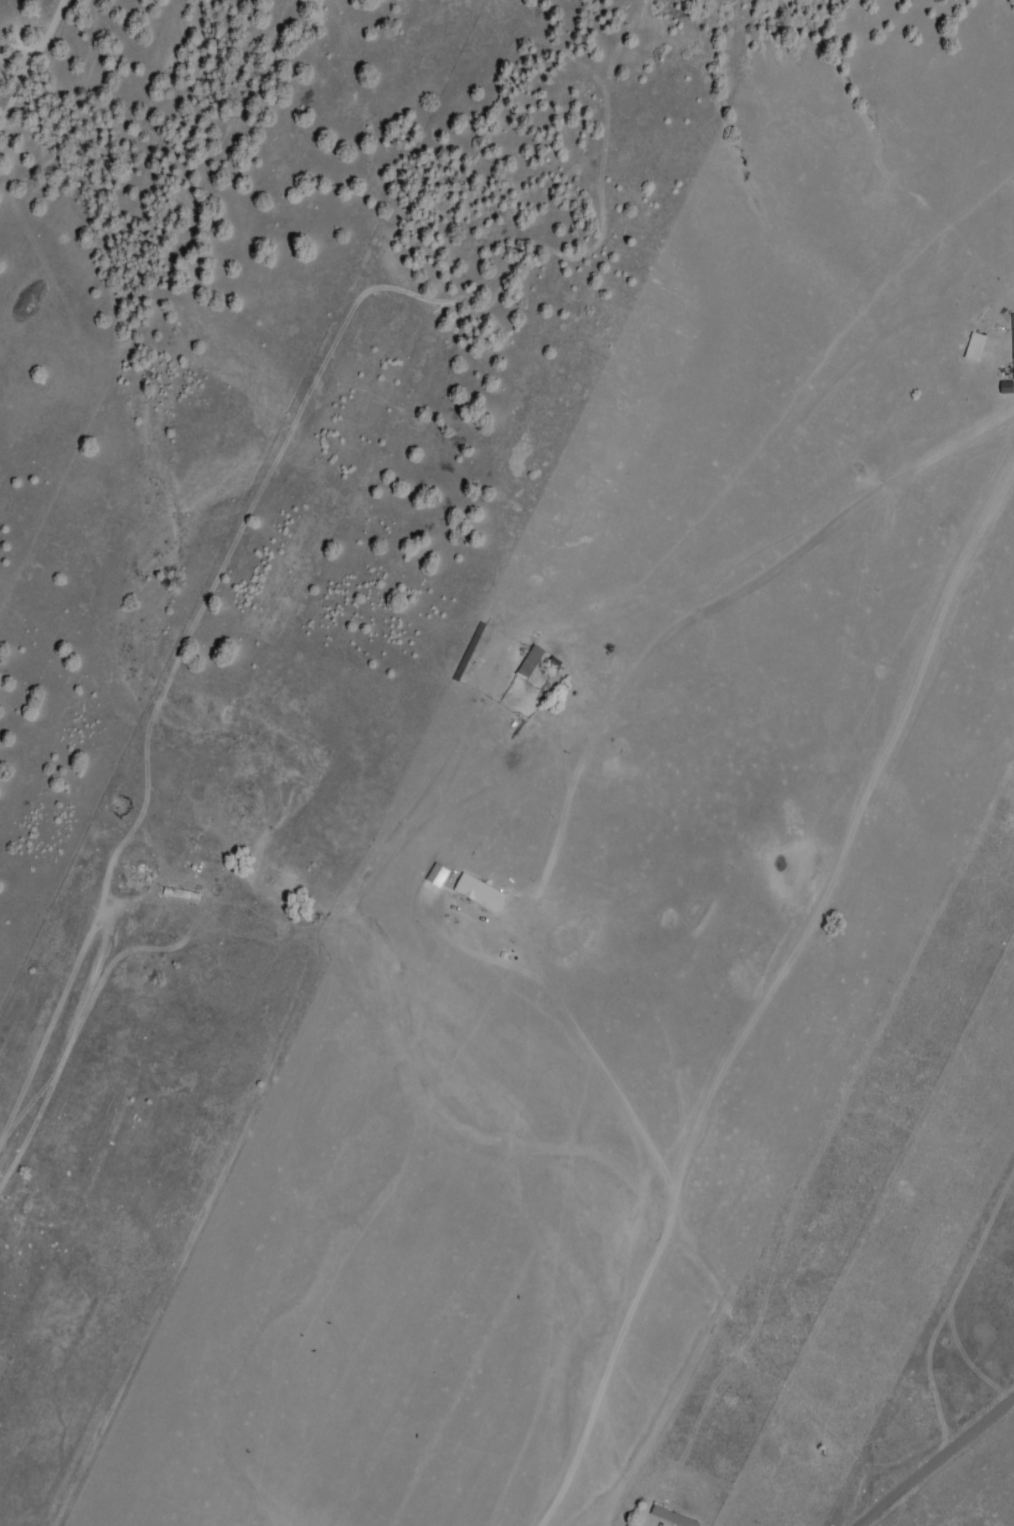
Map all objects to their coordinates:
building: (1013, 339)
building: (530, 663)
building: (552, 667)
building: (480, 892)
building: (181, 893)
road: (242, 1123)
road: (951, 1476)

